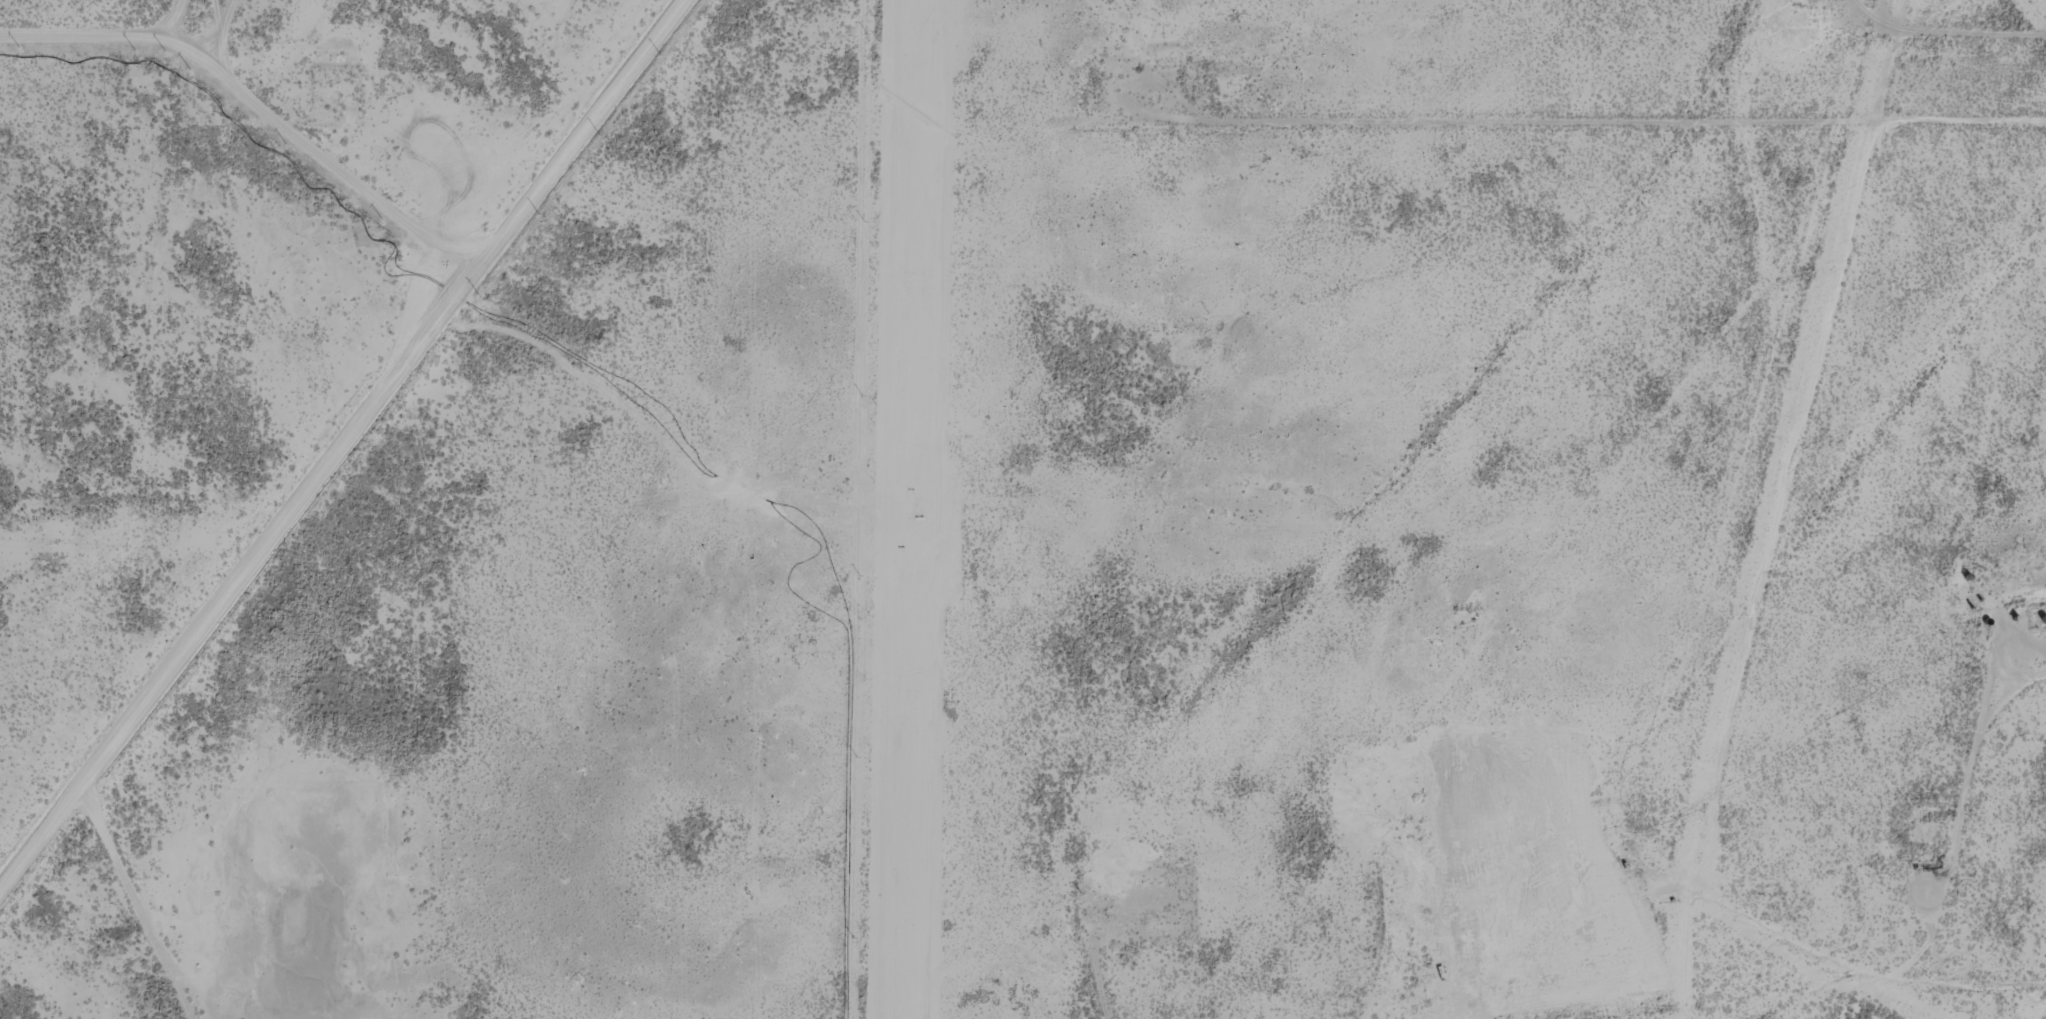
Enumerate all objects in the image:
road: (219, 15)
road: (177, 18)
road: (222, 34)
road: (205, 39)
road: (256, 102)
road: (1620, 138)
road: (345, 441)
road: (1920, 885)
road: (1993, 998)

